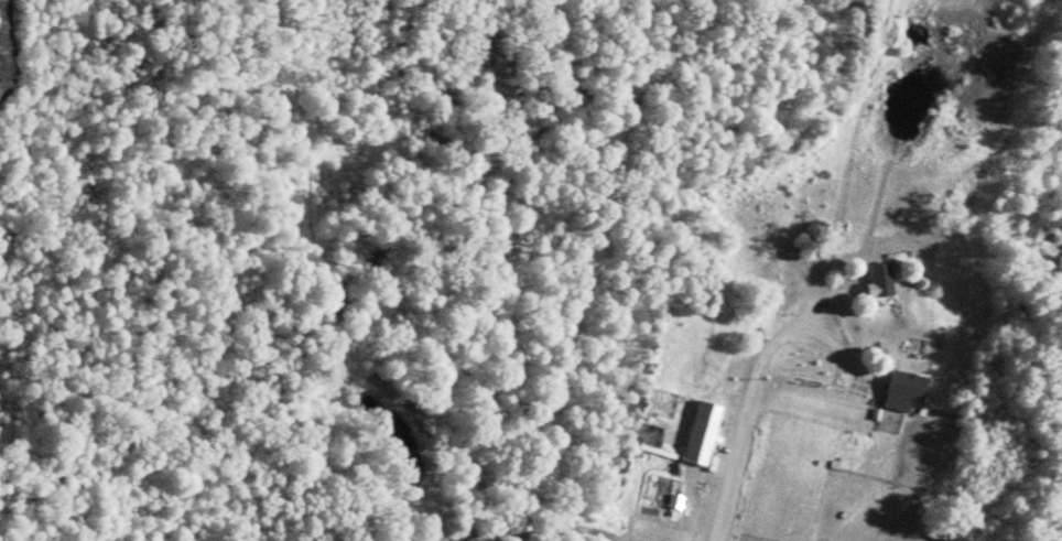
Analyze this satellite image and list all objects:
building: (876, 279)
building: (900, 389)
road: (746, 416)
building: (697, 432)

